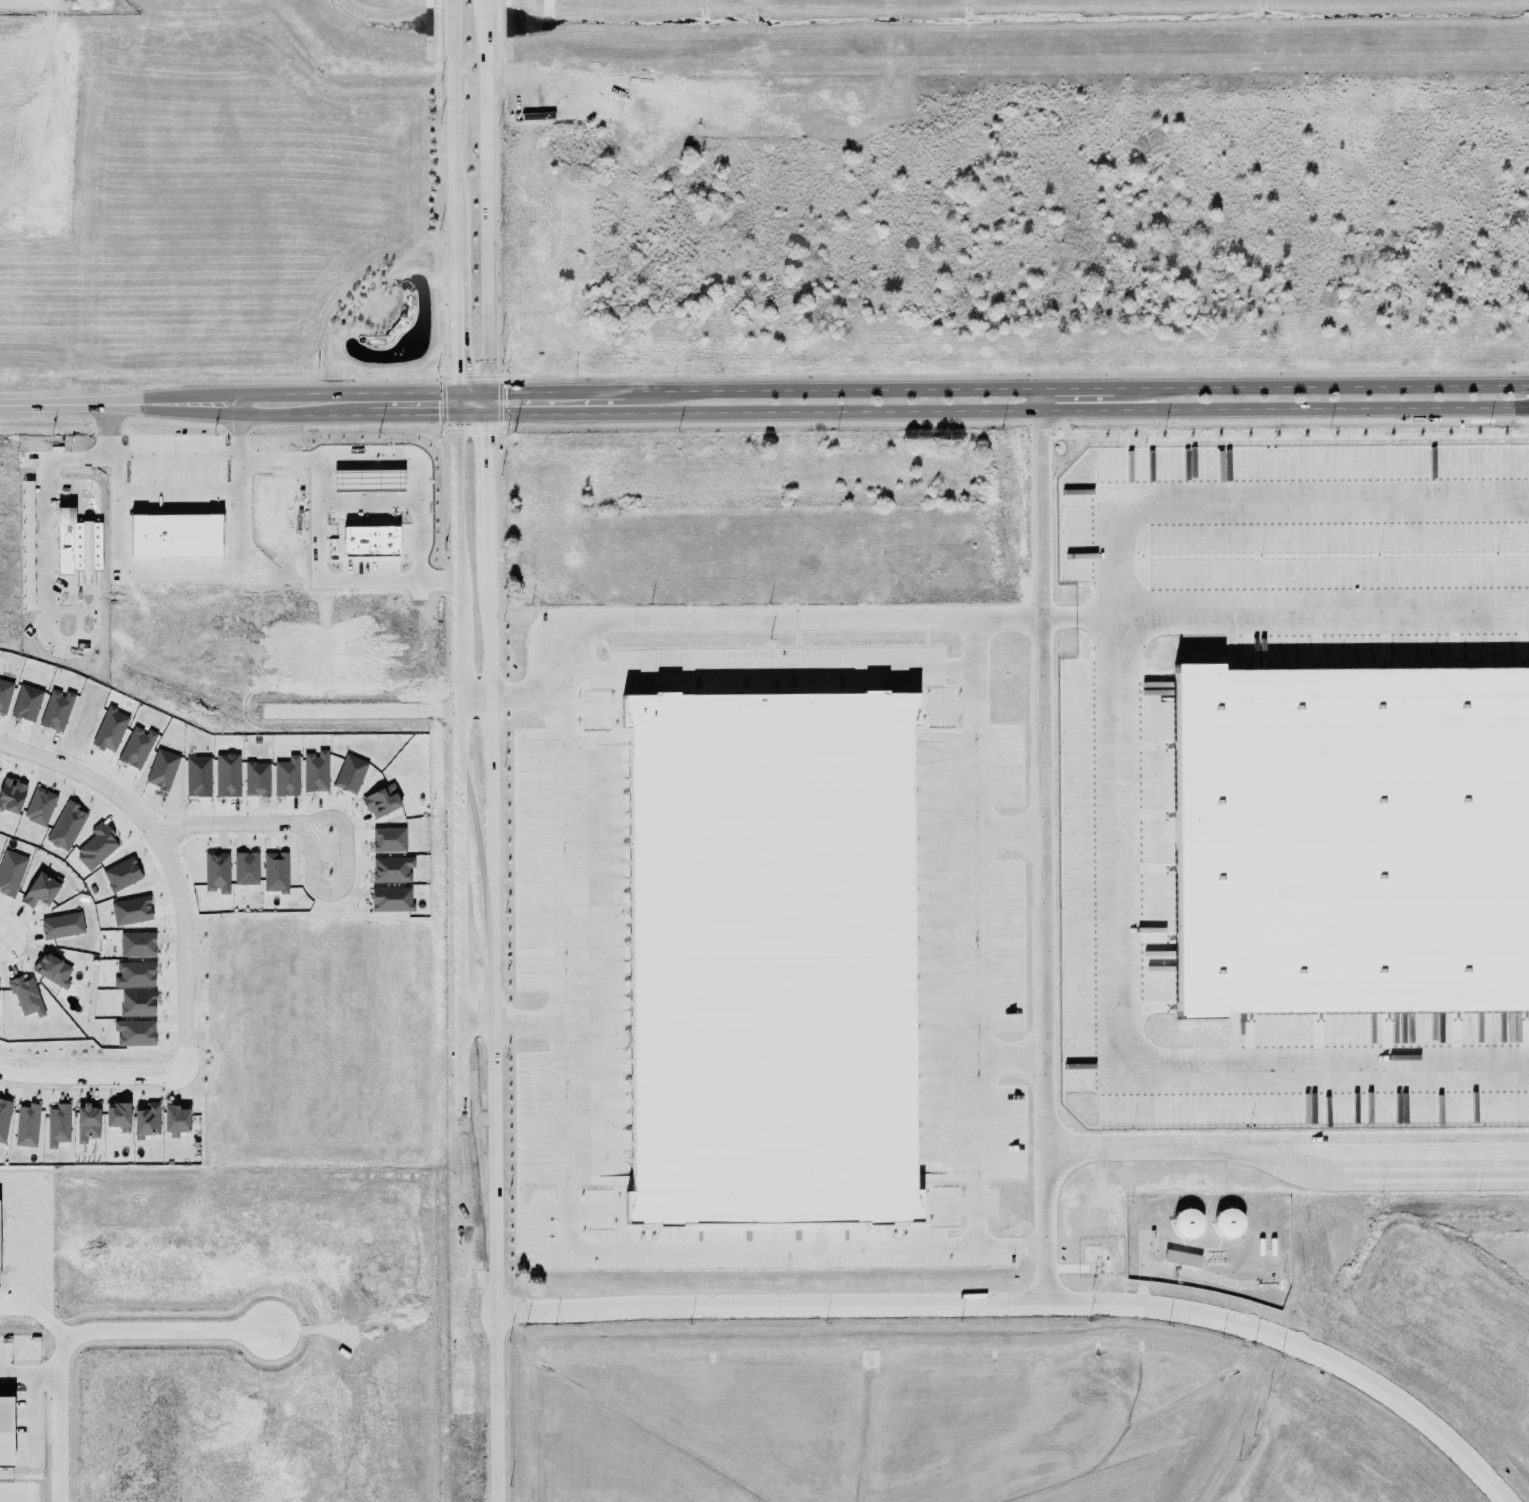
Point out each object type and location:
road: (452, 207)
road: (484, 207)
road: (1007, 389)
traffic signals: (454, 392)
traffic signals: (486, 392)
road: (305, 393)
road: (1043, 400)
road: (1158, 400)
road: (62, 404)
road: (207, 409)
road: (1007, 412)
road: (334, 415)
road: (432, 415)
traffic signals: (454, 415)
traffic signals: (486, 415)
building: (1092, 442)
road: (68, 458)
road: (175, 458)
road: (276, 459)
road: (345, 461)
road: (368, 461)
road: (387, 461)
road: (314, 472)
road: (346, 480)
road: (387, 480)
road: (368, 481)
road: (75, 491)
road: (171, 492)
road: (93, 495)
road: (346, 496)
road: (369, 496)
road: (388, 496)
road: (368, 502)
road: (235, 529)
road: (44, 534)
building: (175, 535)
road: (77, 546)
road: (94, 547)
road: (179, 572)
road: (77, 590)
road: (62, 609)
road: (87, 610)
road: (1287, 611)
road: (46, 618)
road: (738, 618)
road: (90, 638)
road: (71, 640)
road: (770, 670)
building: (4, 693)
road: (472, 699)
building: (26, 703)
building: (56, 710)
building: (110, 729)
building: (136, 747)
building: (314, 769)
building: (350, 774)
building: (226, 775)
building: (197, 776)
building: (286, 777)
building: (256, 779)
building: (11, 795)
building: (381, 801)
building: (39, 807)
road: (231, 816)
road: (489, 819)
road: (458, 821)
building: (66, 826)
road: (1013, 829)
building: (388, 839)
building: (1350, 840)
building: (96, 846)
road: (1047, 858)
road: (168, 860)
building: (245, 868)
building: (392, 869)
building: (11, 872)
building: (216, 872)
building: (275, 872)
building: (121, 874)
road: (343, 874)
building: (39, 892)
building: (391, 899)
building: (131, 910)
building: (61, 925)
road: (979, 931)
road: (0, 938)
building: (136, 944)
building: (770, 959)
building: (134, 974)
building: (25, 996)
building: (137, 1003)
road: (477, 1020)
road: (529, 1021)
building: (134, 1033)
road: (1125, 1036)
road: (1015, 1061)
road: (92, 1076)
building: (117, 1116)
building: (4, 1119)
building: (144, 1119)
building: (175, 1121)
building: (87, 1123)
building: (25, 1124)
building: (57, 1125)
road: (1289, 1147)
road: (573, 1211)
building: (1186, 1224)
building: (1227, 1224)
building: (1181, 1258)
road: (1030, 1303)
road: (88, 1337)
road: (494, 1363)
road: (29, 1373)
building: (5, 1432)

